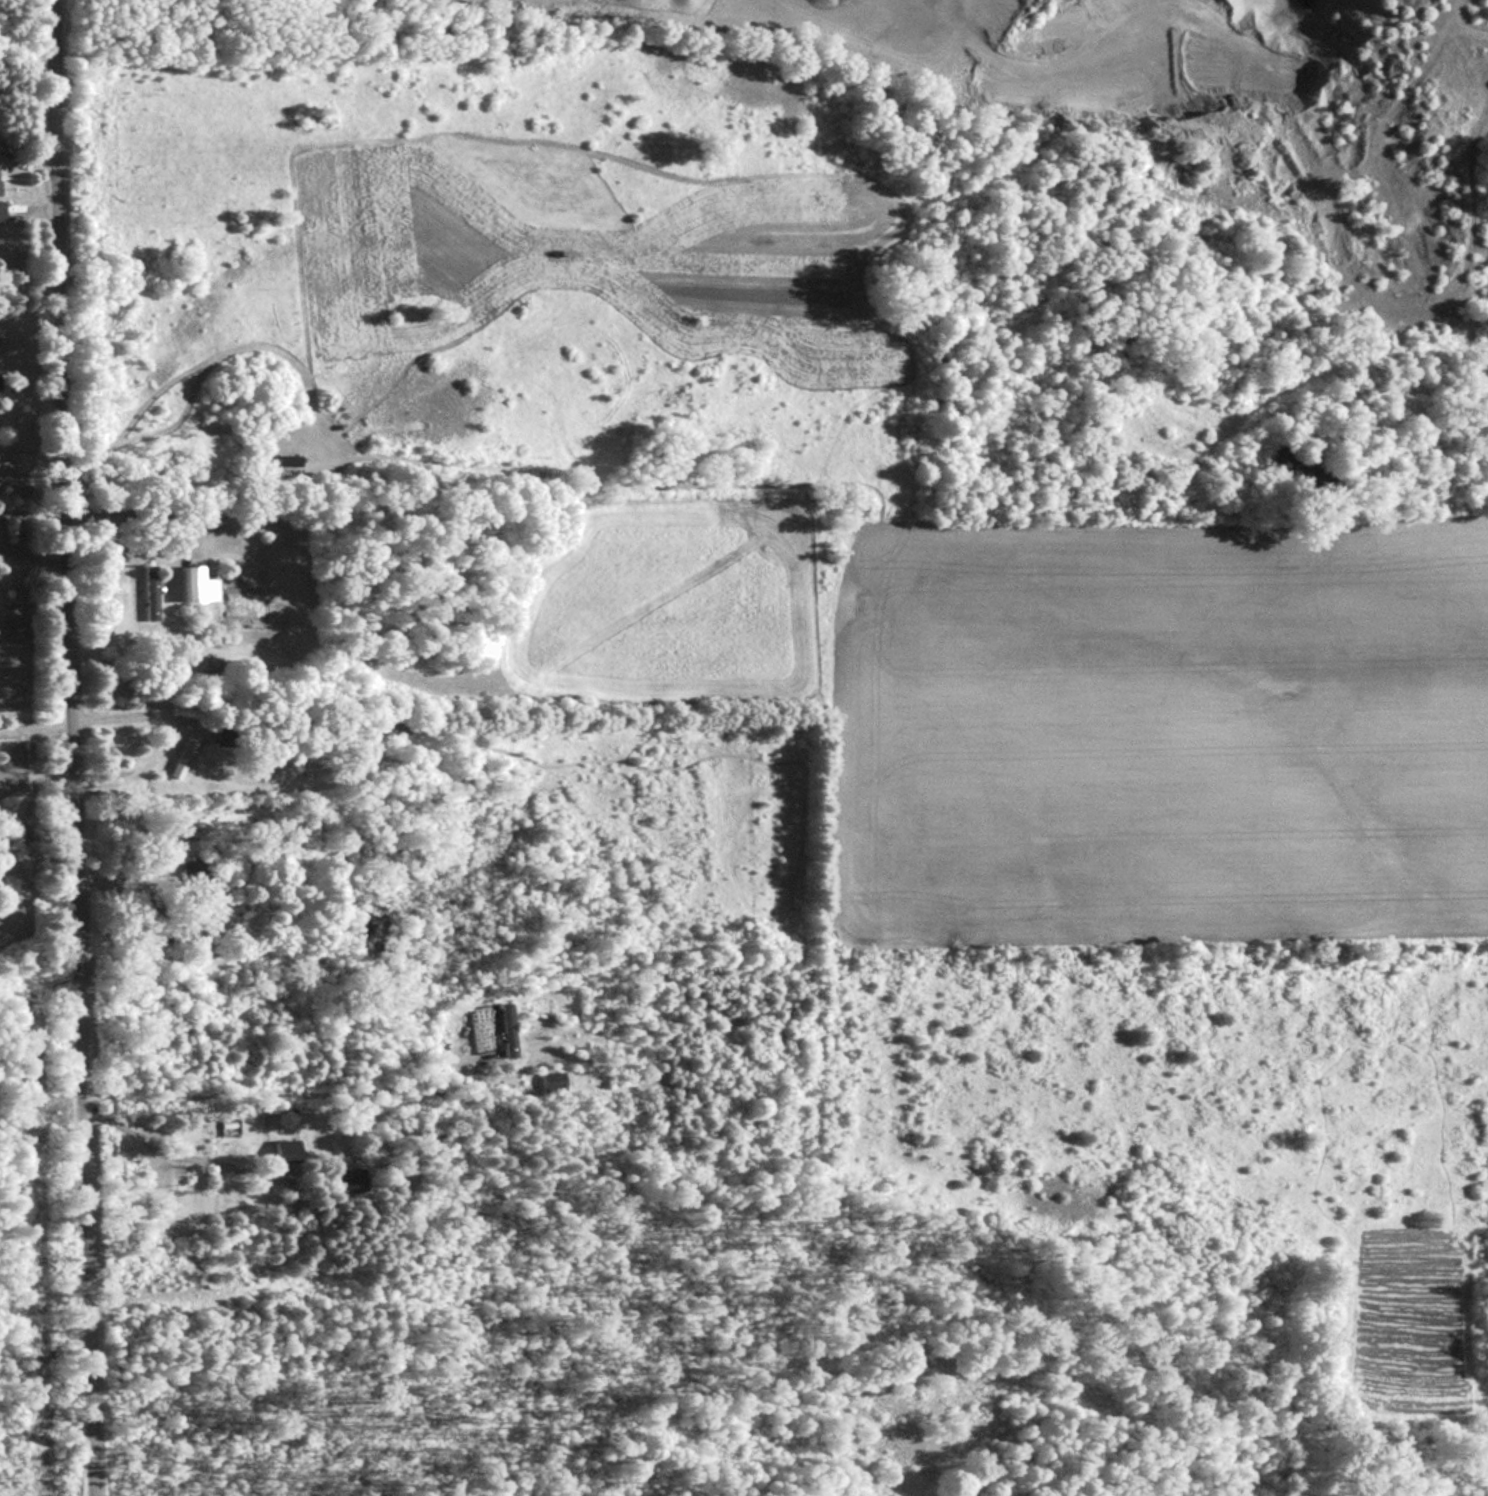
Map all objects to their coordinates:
park: (18, 20)
road: (31, 558)
building: (189, 584)
road: (32, 602)
building: (394, 724)
building: (218, 734)
road: (71, 748)
building: (186, 753)
building: (198, 873)
building: (505, 1030)
building: (550, 1081)
building: (283, 1149)
road: (176, 1156)
building: (345, 1179)

